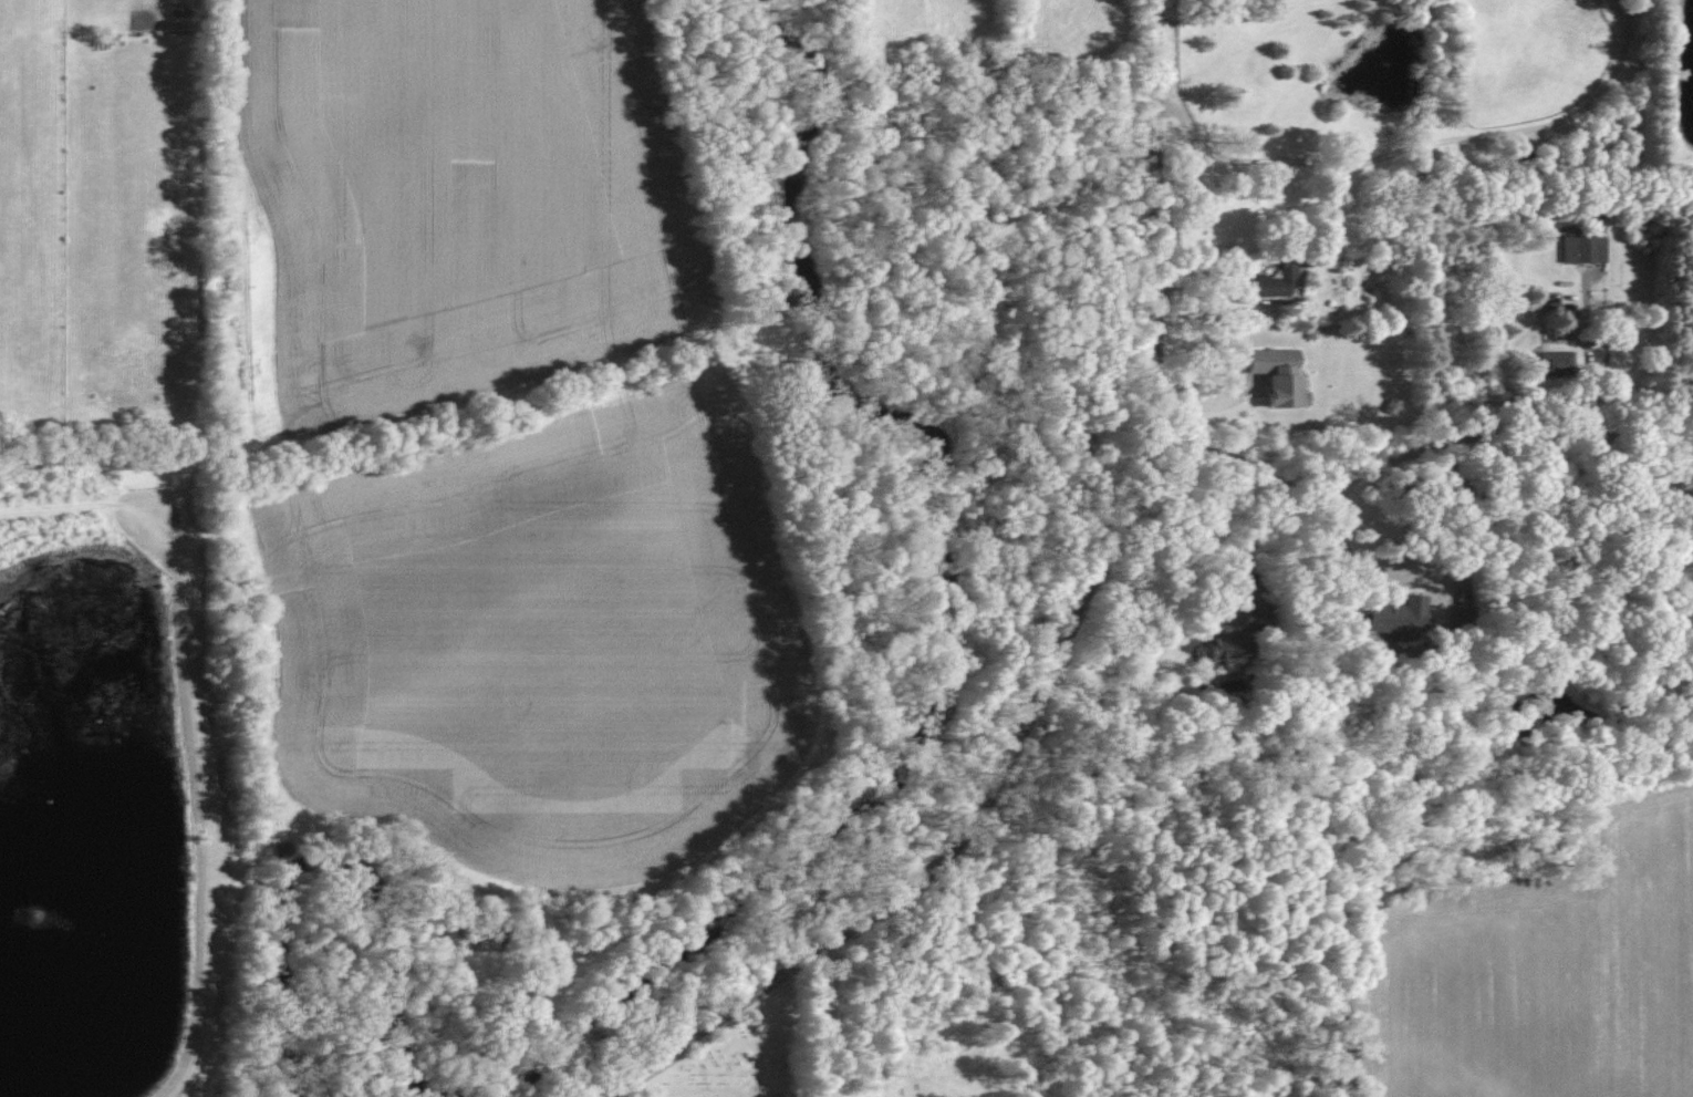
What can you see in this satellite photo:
road: (1411, 151)
building: (1585, 248)
building: (1277, 280)
building: (1557, 363)
building: (1279, 375)
road: (1592, 387)
road: (1212, 405)
road: (1414, 451)
road: (1246, 544)
road: (1102, 565)
road: (1440, 577)
building: (1463, 617)
building: (1398, 619)
building: (1238, 635)
wastewater plant: (112, 800)
road: (674, 1047)
park: (738, 1056)

